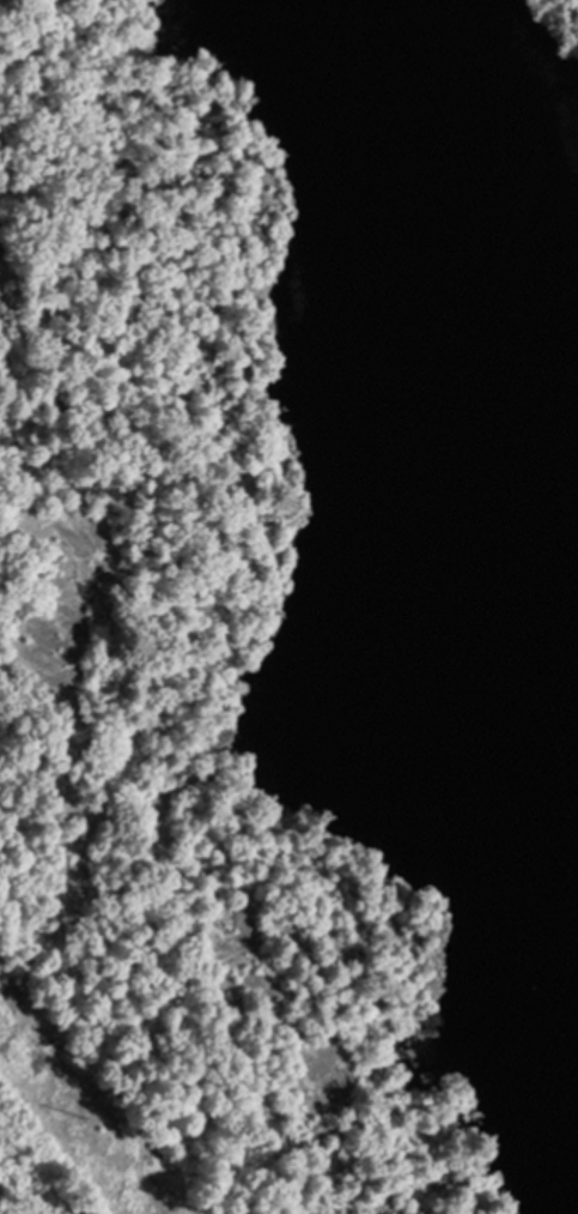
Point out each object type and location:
power tower: (85, 1116)

